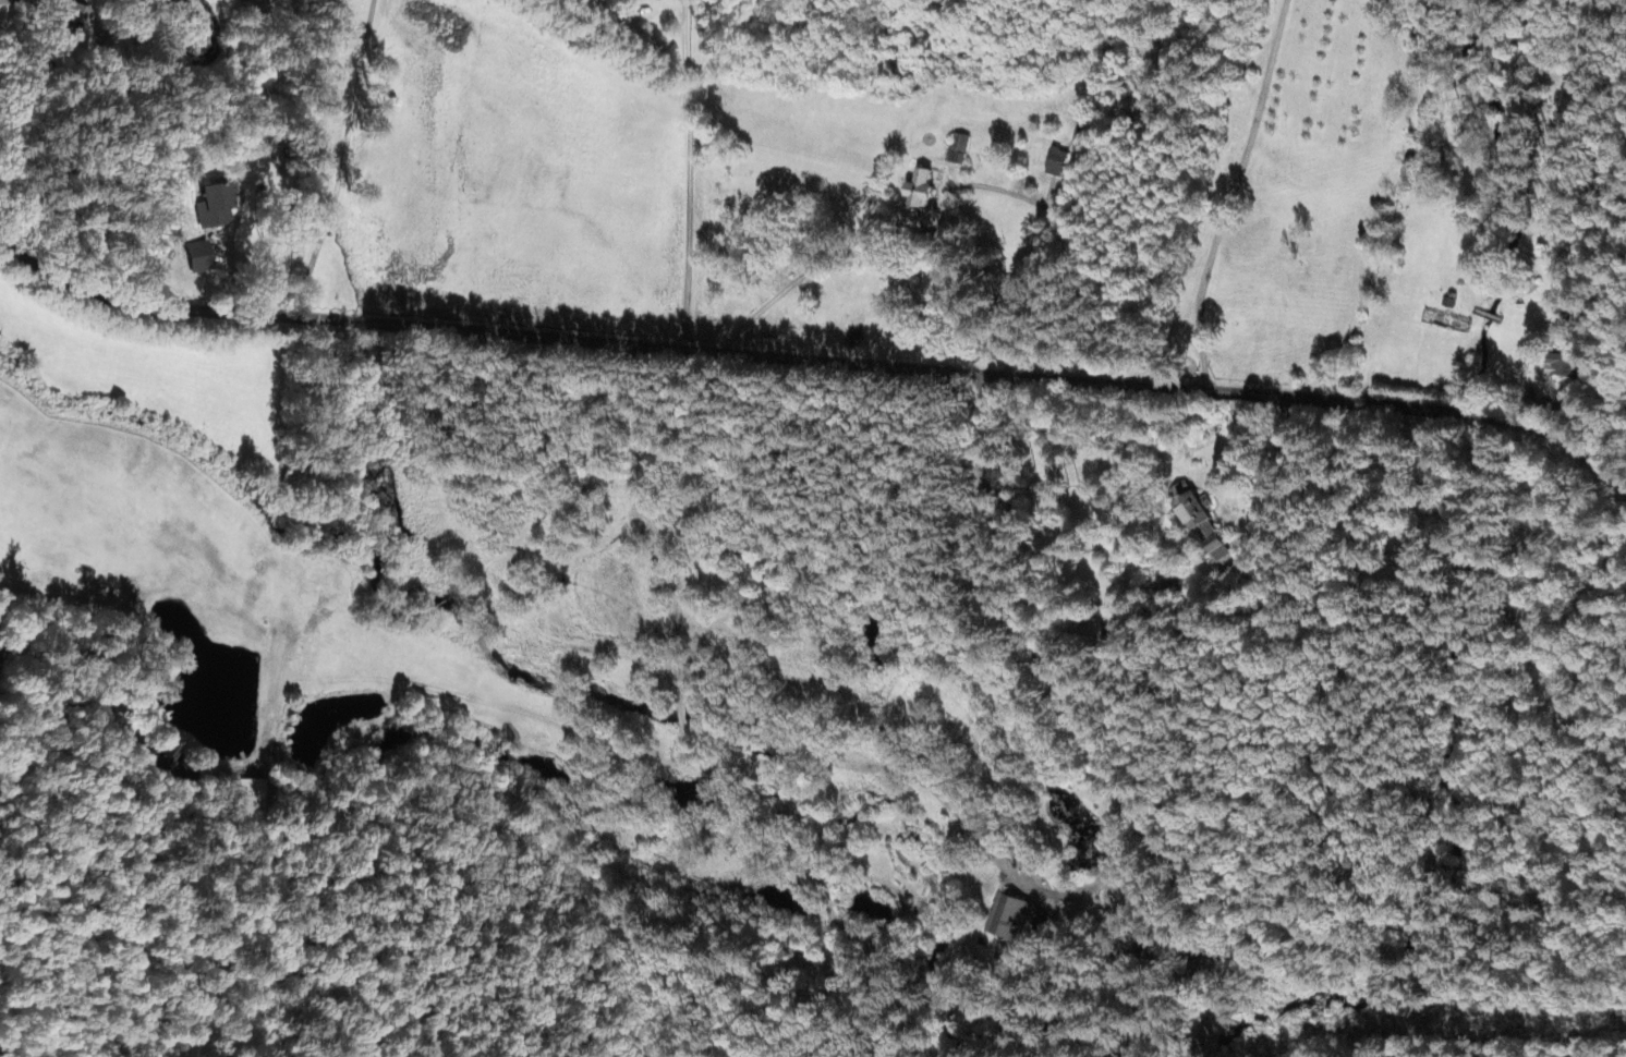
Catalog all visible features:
building: (64, 12)
building: (955, 151)
road: (317, 159)
building: (1052, 165)
building: (914, 194)
road: (1228, 194)
road: (944, 198)
road: (690, 205)
building: (211, 222)
building: (193, 258)
road: (816, 362)
road: (1201, 448)
building: (1196, 523)
road: (1084, 727)
road: (39, 728)
building: (251, 793)
building: (1005, 921)

